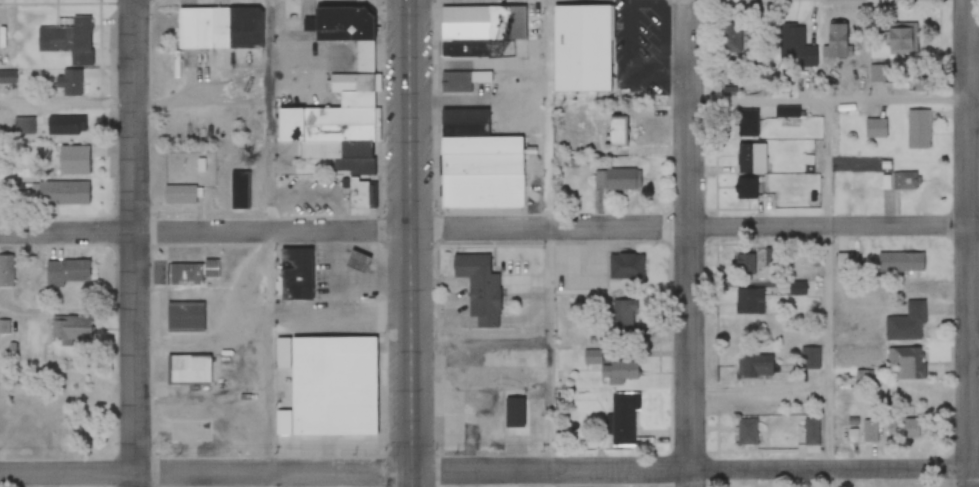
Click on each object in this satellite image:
building: (500, 24)
building: (200, 26)
building: (730, 37)
building: (68, 41)
building: (835, 41)
building: (901, 41)
building: (579, 46)
building: (795, 46)
building: (459, 49)
building: (362, 57)
building: (8, 77)
building: (453, 81)
building: (70, 84)
building: (353, 99)
road: (834, 101)
building: (786, 112)
building: (744, 123)
building: (23, 125)
building: (64, 126)
building: (875, 127)
building: (922, 128)
building: (615, 132)
building: (751, 158)
building: (74, 159)
building: (481, 171)
building: (616, 180)
building: (905, 181)
building: (746, 189)
building: (237, 190)
building: (63, 193)
building: (179, 194)
road: (695, 226)
road: (206, 231)
road: (138, 243)
road: (411, 243)
road: (690, 243)
road: (971, 243)
building: (355, 262)
building: (845, 262)
building: (900, 263)
building: (743, 265)
building: (291, 266)
building: (7, 271)
building: (67, 273)
building: (184, 274)
building: (477, 289)
road: (828, 294)
building: (748, 302)
building: (185, 316)
building: (624, 321)
building: (906, 324)
building: (5, 327)
building: (70, 328)
road: (975, 348)
building: (809, 359)
building: (906, 363)
building: (754, 366)
building: (613, 367)
building: (186, 368)
building: (329, 387)
building: (183, 416)
building: (622, 419)
building: (905, 429)
building: (871, 431)
building: (744, 432)
building: (810, 432)
road: (694, 467)
road: (205, 473)

